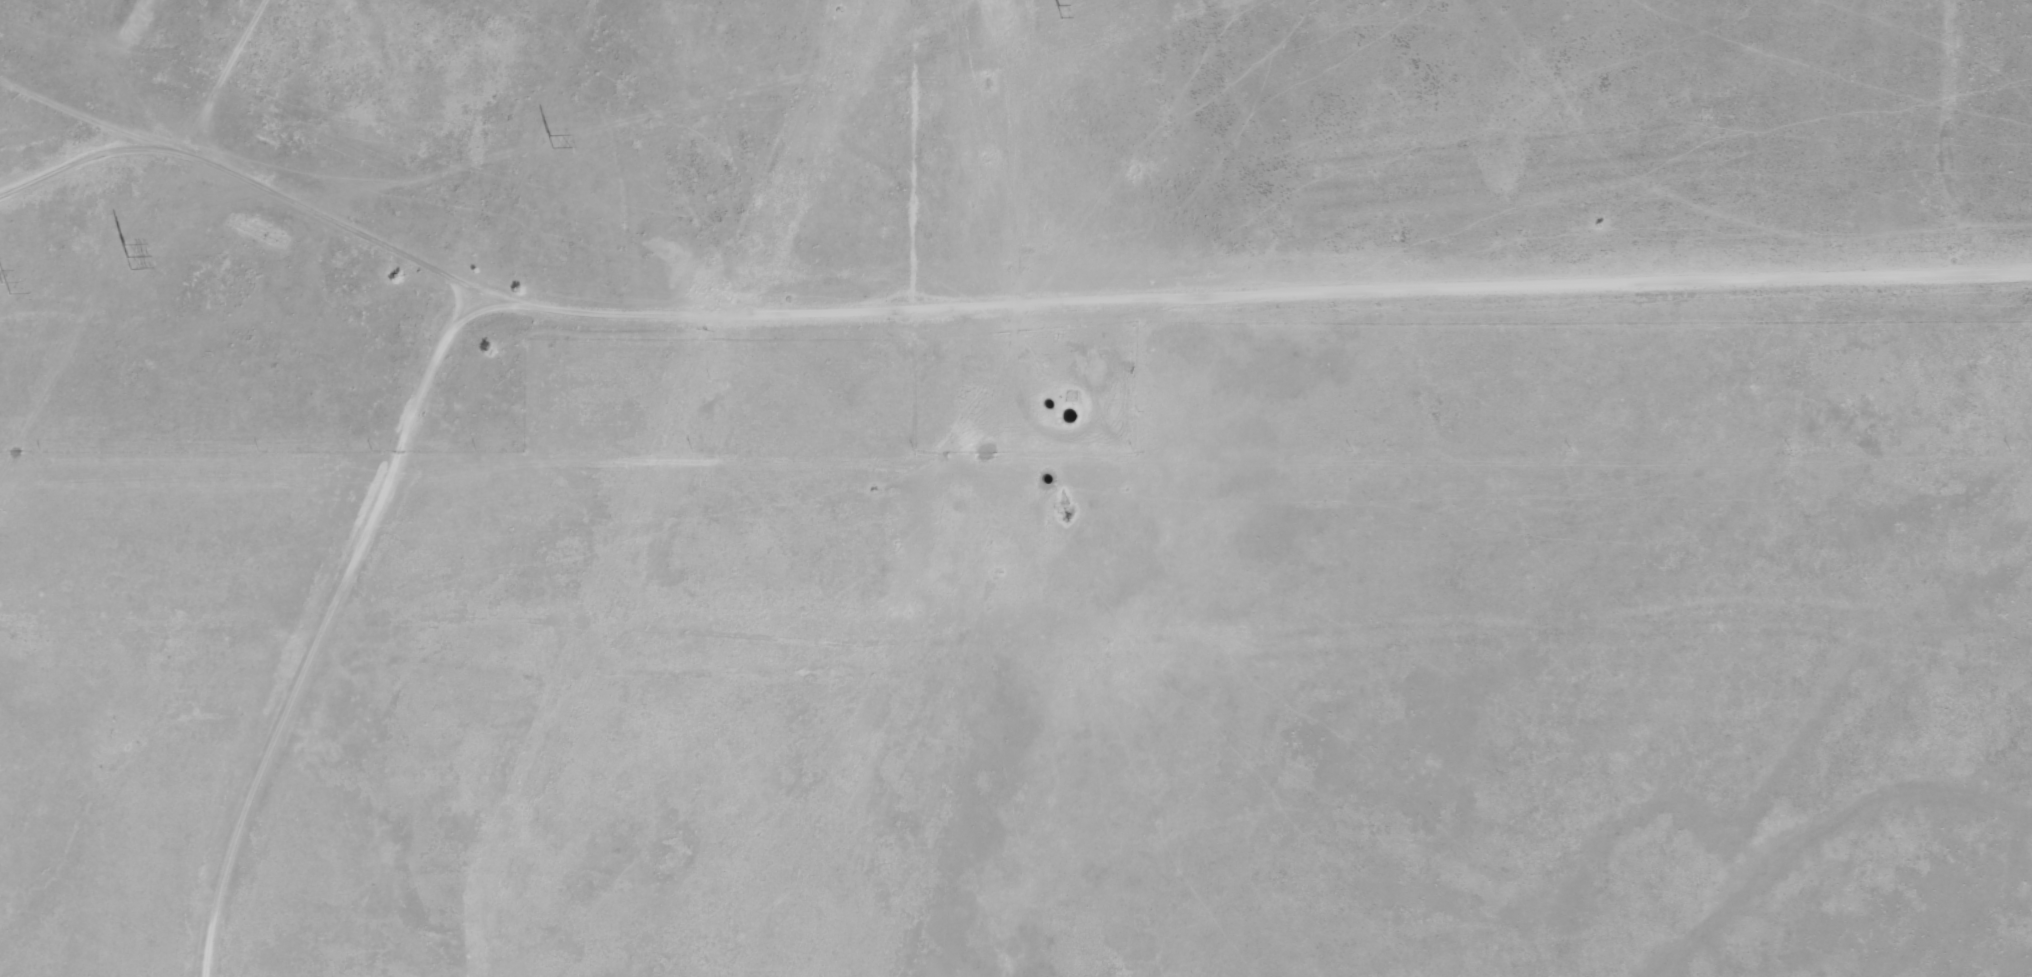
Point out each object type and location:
power tower: (1053, 12)
road: (42, 118)
road: (484, 130)
power tower: (546, 143)
road: (180, 213)
power tower: (123, 259)
road: (1098, 316)
road: (652, 636)
road: (326, 795)

